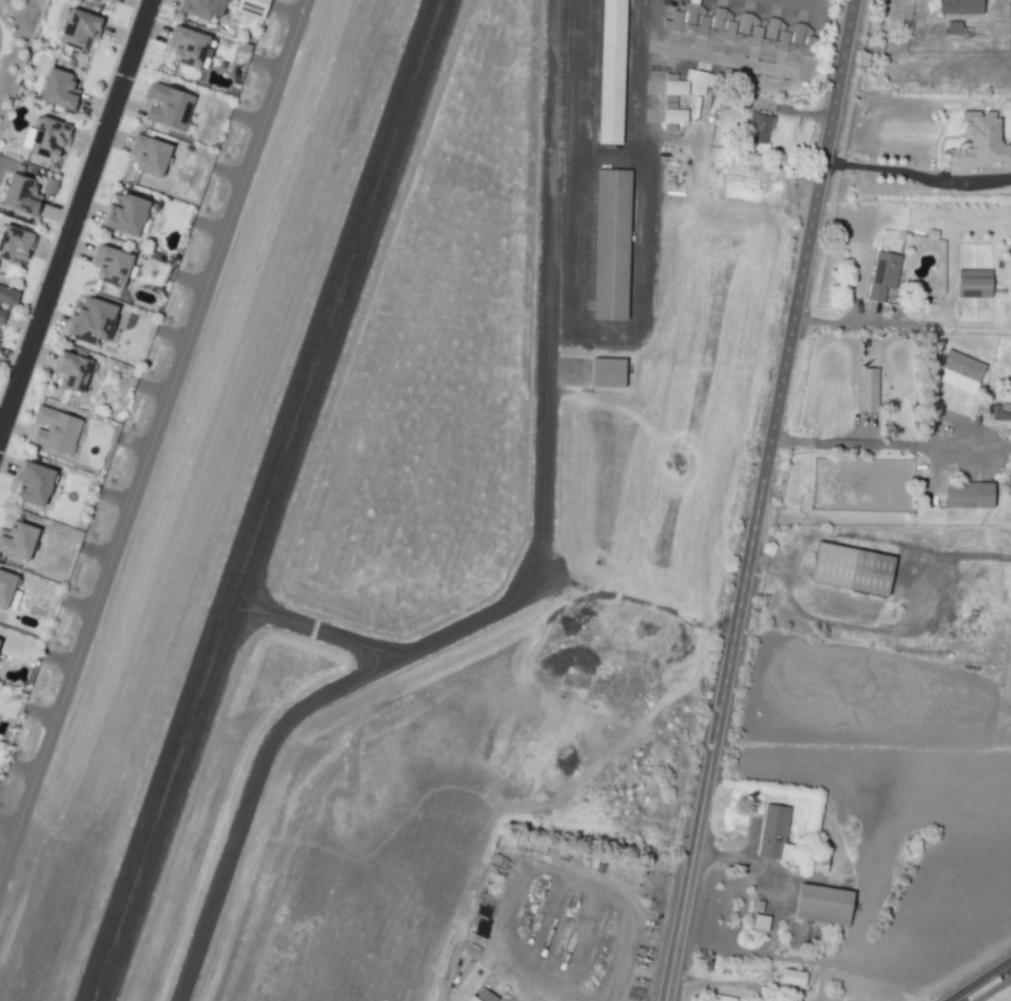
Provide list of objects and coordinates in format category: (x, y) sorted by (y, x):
building: (108, 1)
road: (805, 3)
road: (135, 5)
building: (958, 7)
building: (204, 8)
building: (258, 8)
airport hangar: (691, 13)
building: (691, 13)
airport hangar: (718, 17)
building: (718, 17)
airport hangar: (745, 22)
building: (745, 22)
road: (646, 24)
airport hangar: (676, 24)
building: (676, 24)
airport hangar: (772, 27)
building: (772, 27)
building: (951, 28)
airport hangar: (702, 29)
building: (702, 29)
building: (79, 30)
road: (153, 30)
airport hangar: (799, 32)
building: (799, 32)
airport hangar: (729, 35)
building: (729, 35)
road: (121, 37)
airport hangar: (756, 39)
building: (756, 39)
airport hangar: (782, 44)
building: (782, 44)
building: (188, 49)
airport hangar: (809, 51)
building: (809, 51)
park: (15, 60)
road: (728, 62)
airport hangar: (614, 74)
building: (614, 74)
airport hangar: (701, 81)
building: (701, 81)
airport hangar: (674, 89)
building: (674, 89)
building: (58, 90)
road: (128, 104)
building: (169, 107)
road: (98, 109)
airport hangar: (673, 120)
building: (673, 120)
airport hangar: (759, 127)
building: (759, 127)
building: (47, 139)
road: (115, 140)
road: (87, 143)
building: (978, 143)
building: (149, 157)
road: (916, 174)
building: (20, 197)
road: (94, 209)
airport hangar: (678, 213)
building: (678, 213)
road: (59, 214)
building: (127, 217)
road: (76, 221)
building: (13, 246)
road: (79, 248)
airport hangar: (615, 249)
building: (615, 249)
road: (49, 252)
building: (111, 268)
building: (881, 277)
building: (971, 284)
building: (8, 298)
building: (2, 319)
road: (56, 319)
road: (845, 319)
road: (24, 323)
building: (92, 324)
building: (0, 343)
road: (43, 355)
road: (13, 360)
building: (603, 372)
building: (957, 372)
building: (72, 373)
building: (865, 389)
building: (996, 414)
airport taxiway: (148, 424)
road: (19, 430)
building: (57, 430)
road: (1, 436)
road: (879, 443)
airport taxiway: (157, 453)
road: (9, 466)
building: (34, 483)
building: (965, 495)
airport runway: (248, 500)
airport runway: (286, 500)
road: (759, 500)
airport: (426, 515)
building: (18, 541)
building: (853, 569)
airport taxiway: (569, 585)
building: (6, 588)
airport taxiway: (356, 631)
building: (772, 833)
building: (818, 863)
road: (756, 869)
building: (819, 905)
building: (758, 922)
building: (790, 977)
road: (984, 983)
building: (722, 998)
building: (473, 999)
crop: (1010, 1000)

